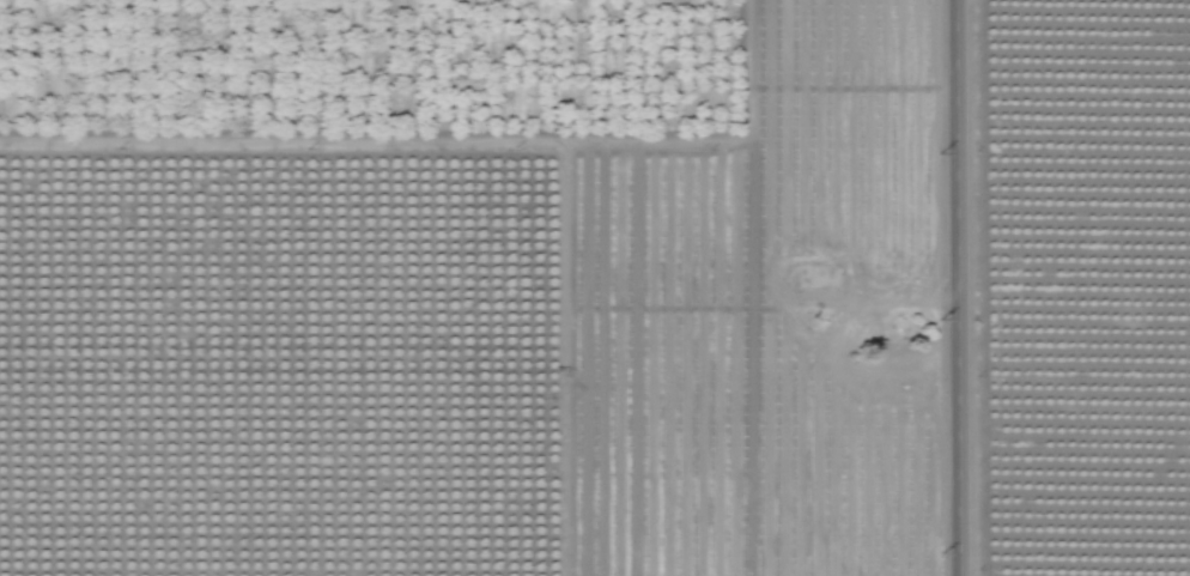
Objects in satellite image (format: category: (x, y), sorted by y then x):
building: (821, 275)
road: (952, 287)

